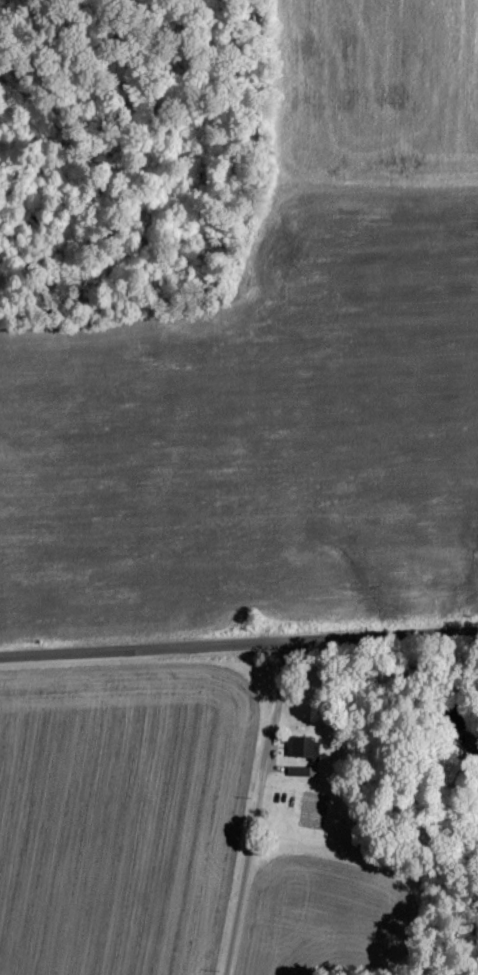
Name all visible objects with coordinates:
road: (239, 644)
building: (302, 746)
building: (298, 770)
road: (254, 809)

